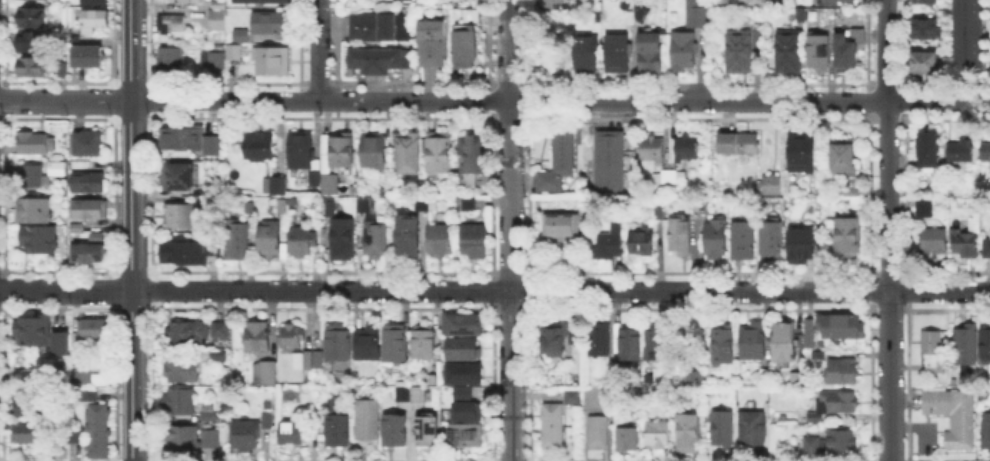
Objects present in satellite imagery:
building: (191, 1)
building: (97, 2)
building: (266, 2)
building: (839, 2)
building: (747, 3)
building: (929, 4)
building: (218, 6)
building: (555, 8)
building: (696, 15)
building: (473, 16)
building: (804, 17)
building: (33, 19)
building: (97, 19)
building: (639, 19)
building: (218, 21)
building: (271, 24)
building: (173, 25)
building: (382, 28)
building: (926, 30)
building: (967, 33)
building: (243, 37)
building: (430, 41)
building: (34, 43)
building: (847, 48)
road: (318, 50)
building: (467, 52)
building: (683, 52)
building: (740, 52)
building: (819, 52)
building: (235, 53)
building: (790, 53)
building: (589, 54)
building: (619, 54)
building: (652, 55)
building: (90, 58)
building: (213, 61)
building: (380, 61)
building: (926, 63)
building: (273, 64)
building: (172, 65)
building: (34, 67)
building: (64, 70)
road: (65, 100)
road: (559, 101)
building: (191, 141)
building: (34, 144)
building: (89, 145)
building: (740, 147)
building: (260, 148)
building: (652, 149)
building: (375, 150)
building: (302, 151)
building: (687, 151)
building: (962, 152)
building: (341, 153)
building: (802, 153)
building: (930, 153)
building: (987, 154)
building: (408, 155)
building: (440, 155)
building: (474, 155)
building: (845, 157)
building: (560, 161)
building: (612, 163)
building: (55, 167)
building: (33, 176)
building: (669, 177)
building: (178, 178)
building: (314, 178)
building: (470, 181)
building: (90, 184)
building: (329, 184)
building: (772, 185)
building: (276, 186)
building: (851, 193)
building: (471, 204)
building: (278, 206)
building: (365, 206)
building: (249, 207)
building: (421, 207)
building: (330, 208)
building: (927, 209)
building: (91, 210)
building: (35, 211)
building: (181, 216)
building: (560, 227)
building: (79, 229)
road: (130, 230)
road: (509, 230)
road: (888, 230)
building: (410, 235)
building: (680, 235)
building: (270, 237)
building: (343, 239)
building: (377, 239)
building: (440, 240)
building: (850, 240)
building: (39, 241)
building: (643, 241)
building: (771, 241)
building: (934, 241)
building: (239, 242)
building: (301, 242)
building: (476, 242)
building: (716, 242)
building: (744, 242)
building: (612, 243)
building: (802, 243)
building: (965, 243)
building: (987, 249)
building: (92, 250)
building: (189, 254)
road: (65, 290)
road: (560, 290)
building: (464, 325)
building: (844, 327)
building: (96, 328)
building: (220, 330)
building: (33, 333)
building: (188, 335)
building: (292, 336)
building: (813, 336)
building: (577, 337)
building: (258, 339)
building: (555, 340)
building: (658, 340)
building: (334, 341)
building: (600, 341)
building: (754, 341)
building: (63, 342)
building: (369, 342)
building: (396, 342)
building: (786, 342)
building: (424, 343)
building: (986, 345)
building: (723, 346)
building: (965, 346)
building: (631, 347)
building: (463, 350)
building: (934, 352)
building: (821, 356)
building: (315, 358)
building: (299, 359)
building: (183, 372)
building: (844, 372)
building: (266, 375)
building: (465, 375)
building: (765, 376)
building: (612, 378)
building: (687, 378)
building: (955, 379)
building: (80, 380)
building: (104, 381)
building: (801, 383)
building: (411, 394)
building: (464, 395)
building: (569, 395)
building: (181, 402)
building: (835, 404)
building: (30, 408)
building: (469, 411)
building: (210, 414)
building: (953, 416)
building: (269, 421)
building: (368, 425)
building: (553, 428)
building: (725, 429)
building: (429, 430)
building: (755, 430)
building: (339, 431)
building: (396, 431)
building: (986, 431)
building: (99, 432)
building: (27, 433)
building: (73, 433)
building: (689, 433)
building: (600, 435)
building: (658, 435)
building: (294, 436)
building: (246, 437)
building: (467, 437)
building: (630, 438)
building: (191, 440)
building: (842, 442)
building: (812, 446)

